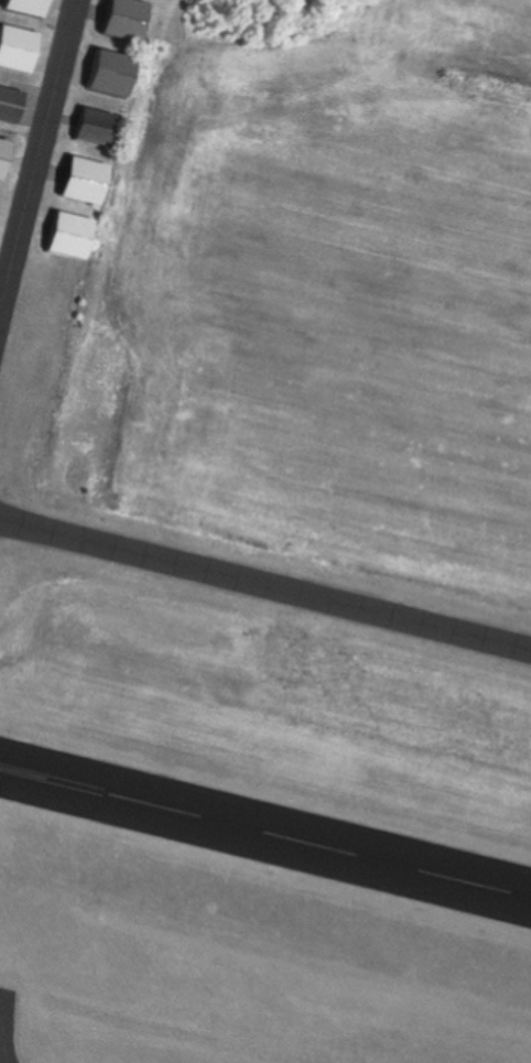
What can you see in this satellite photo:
airport taxiway: (37, 152)
airport: (265, 531)
airport taxiway: (265, 582)
airport runway: (265, 829)
airport taxiway: (3, 1039)

